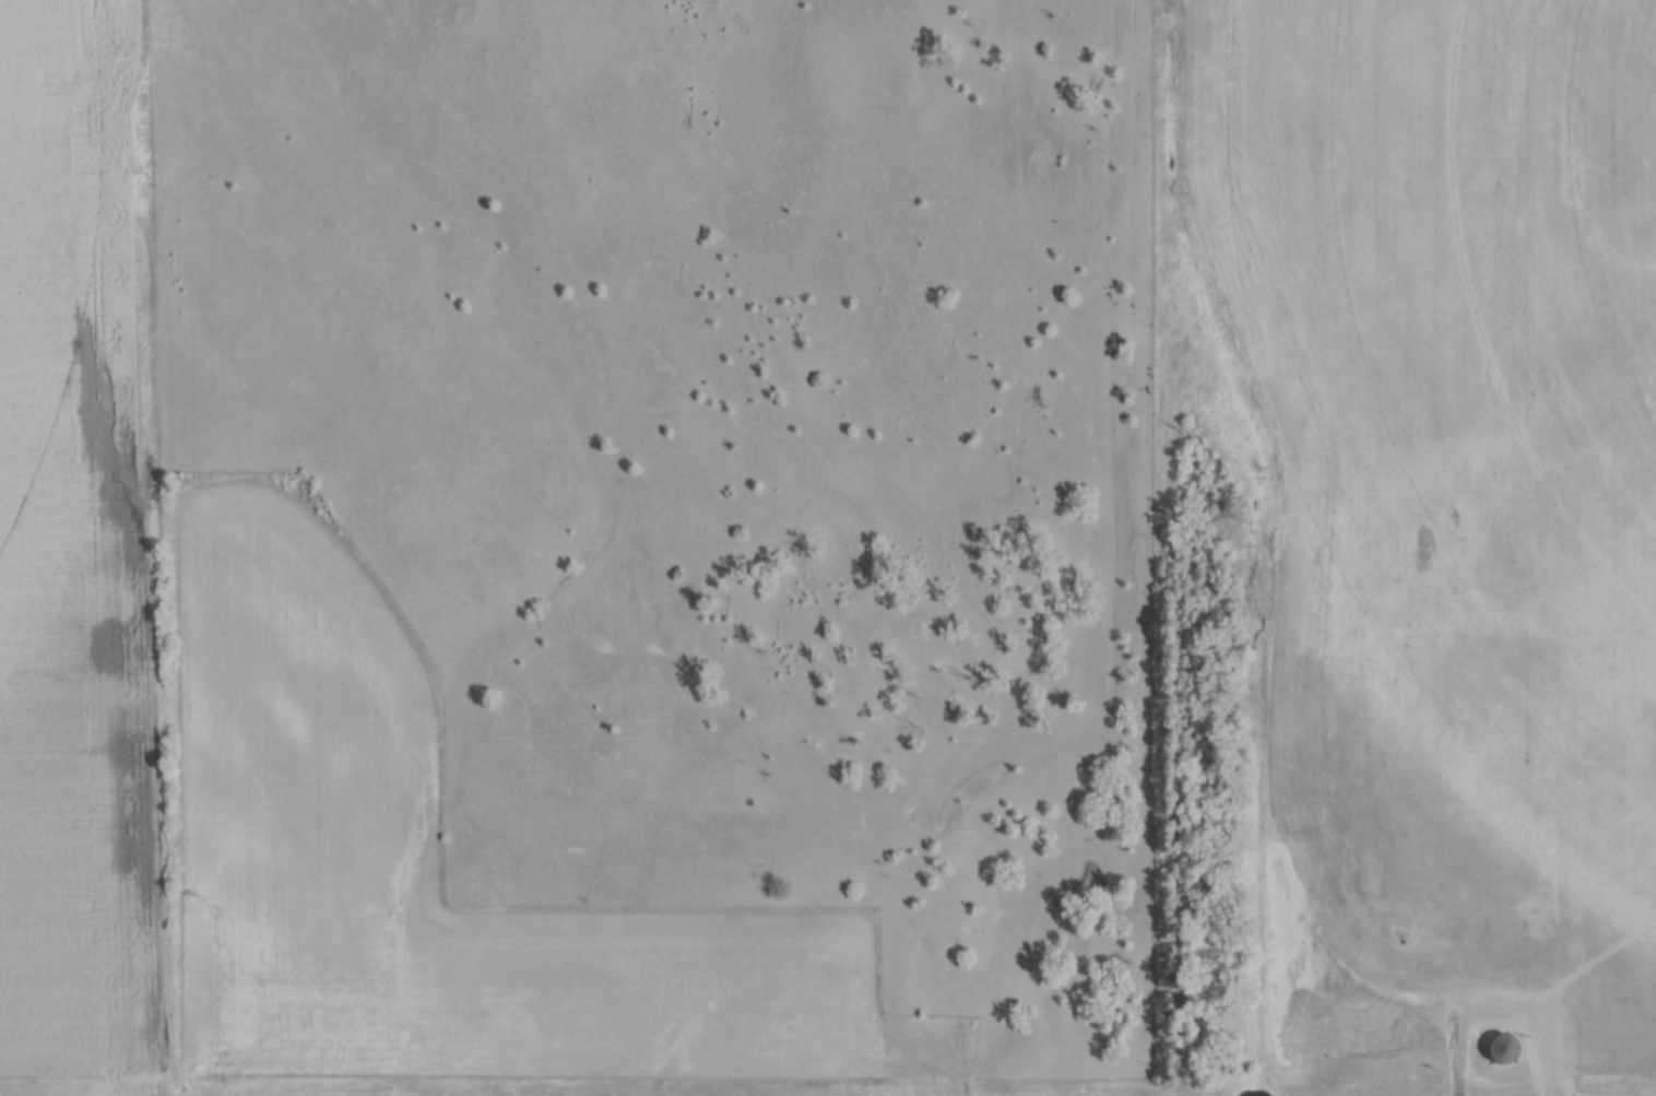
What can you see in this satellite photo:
building: (1497, 1050)

